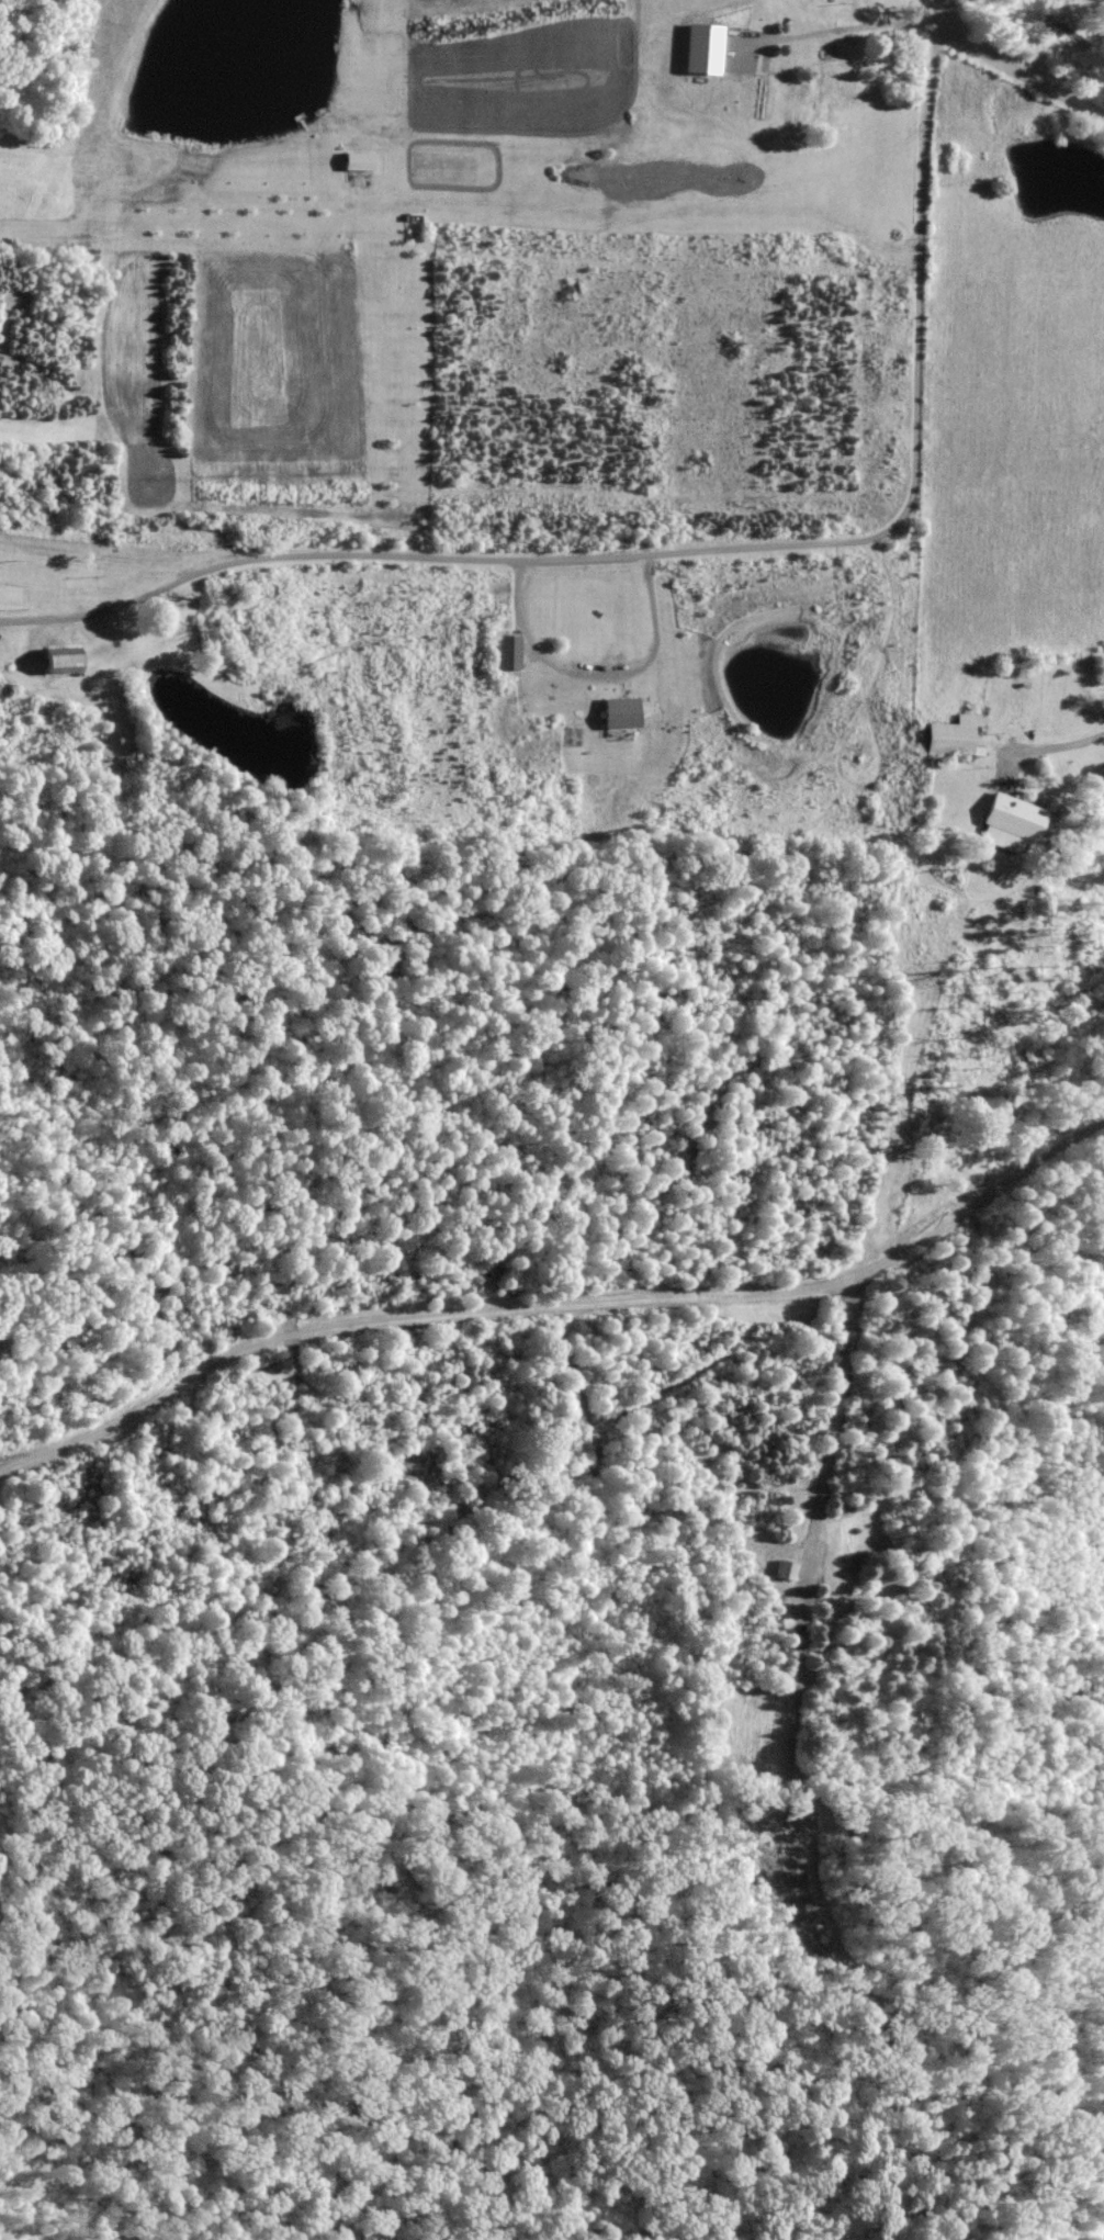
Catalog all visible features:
building: (1062, 30)
building: (838, 59)
road: (1005, 61)
building: (360, 162)
road: (698, 550)
building: (510, 653)
building: (65, 662)
building: (622, 716)
building: (953, 738)
road: (1066, 750)
building: (1012, 824)
building: (787, 1571)

